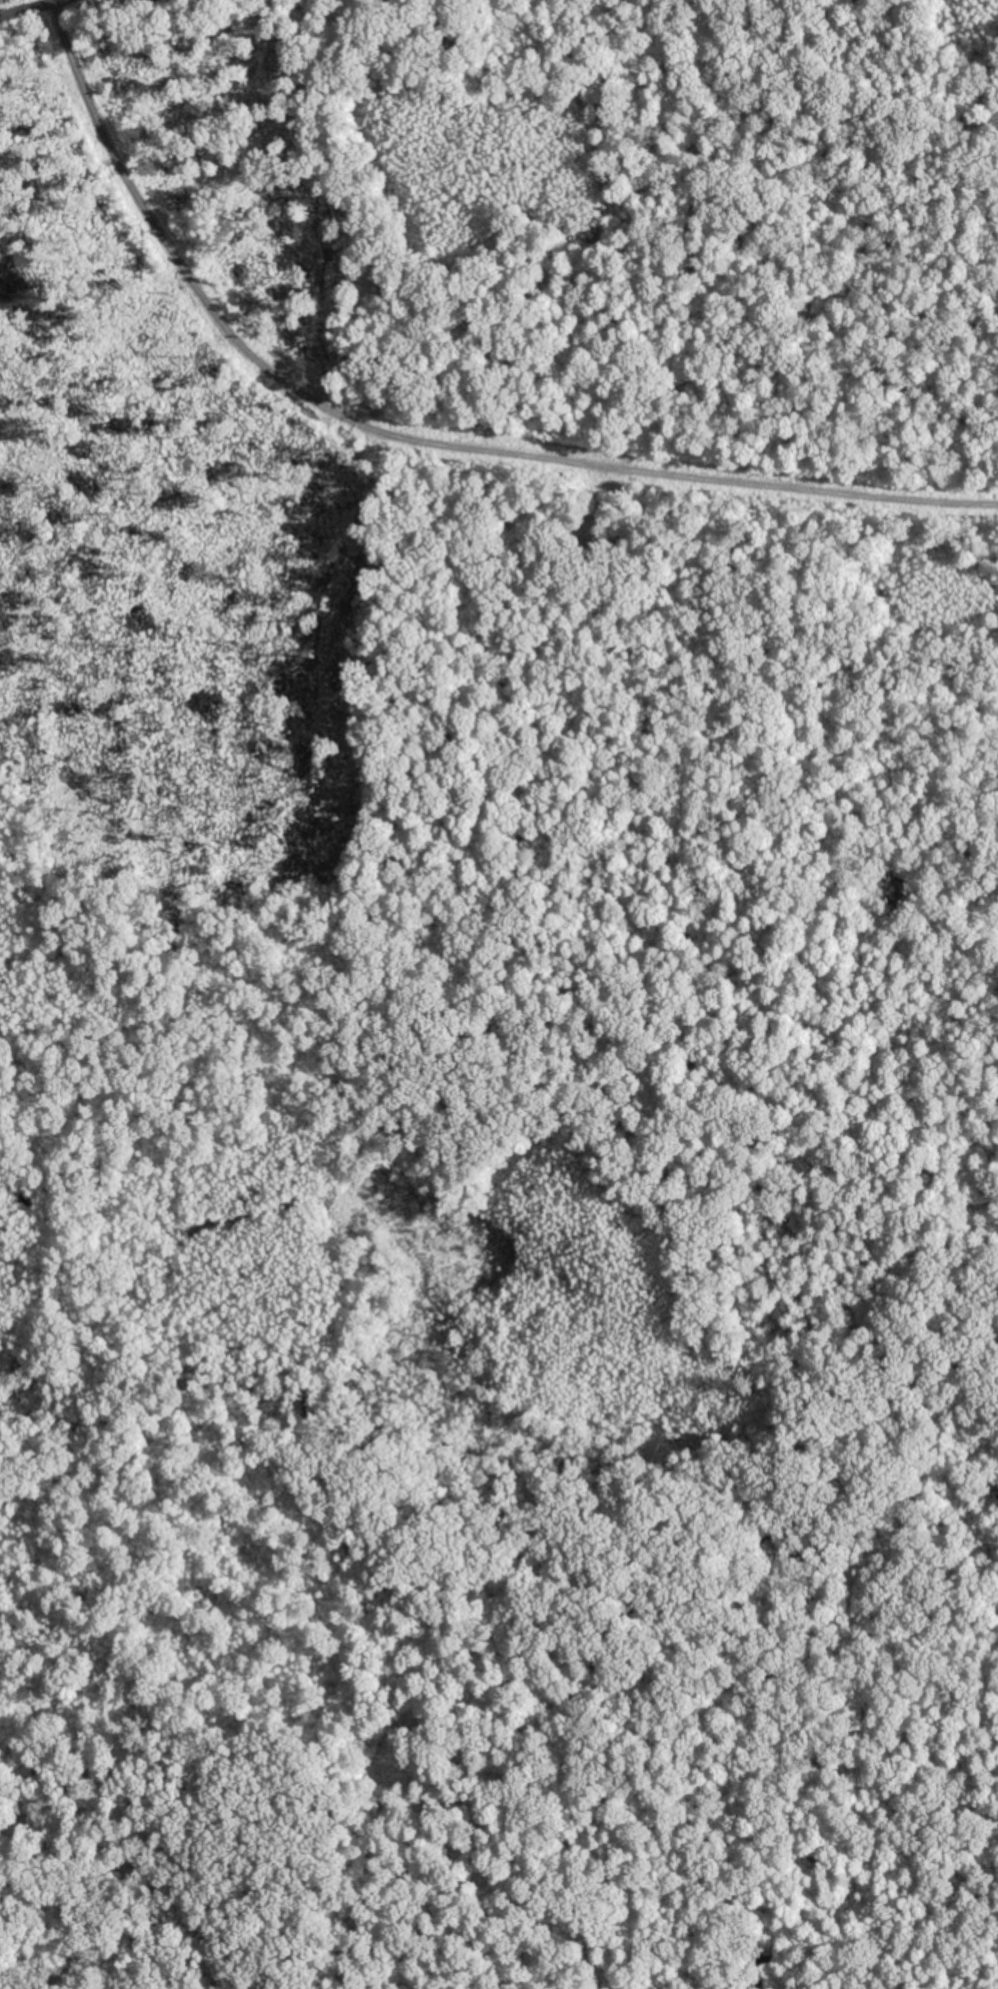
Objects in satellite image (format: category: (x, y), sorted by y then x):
road: (52, 1)
road: (24, 9)
road: (410, 437)

